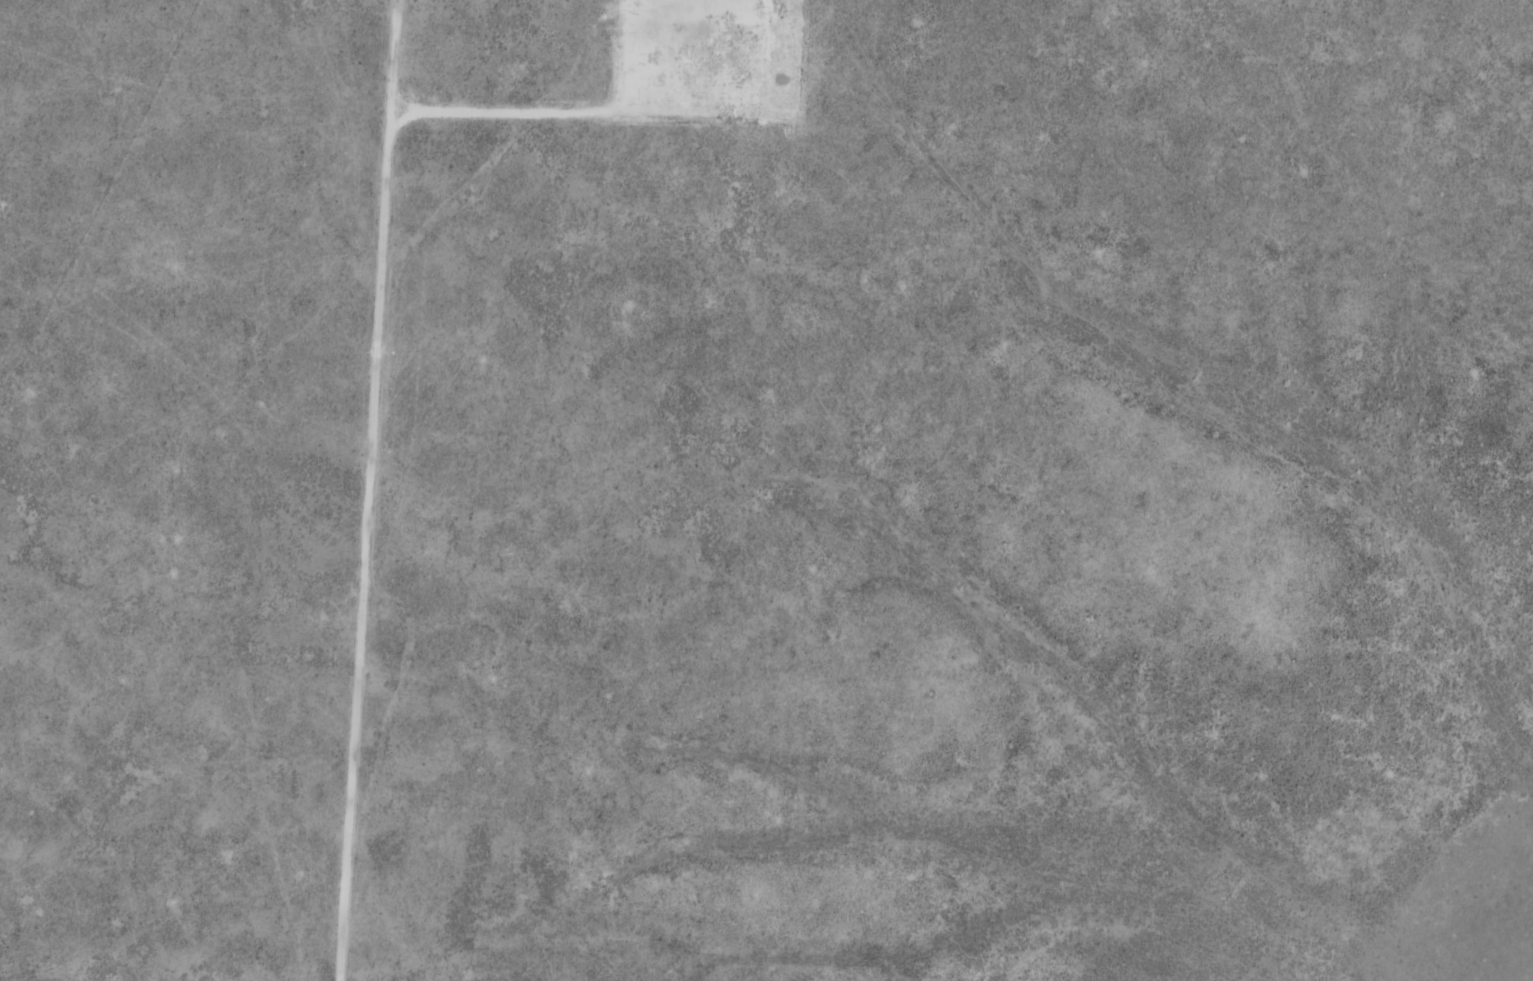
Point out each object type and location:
road: (604, 105)
road: (369, 490)

